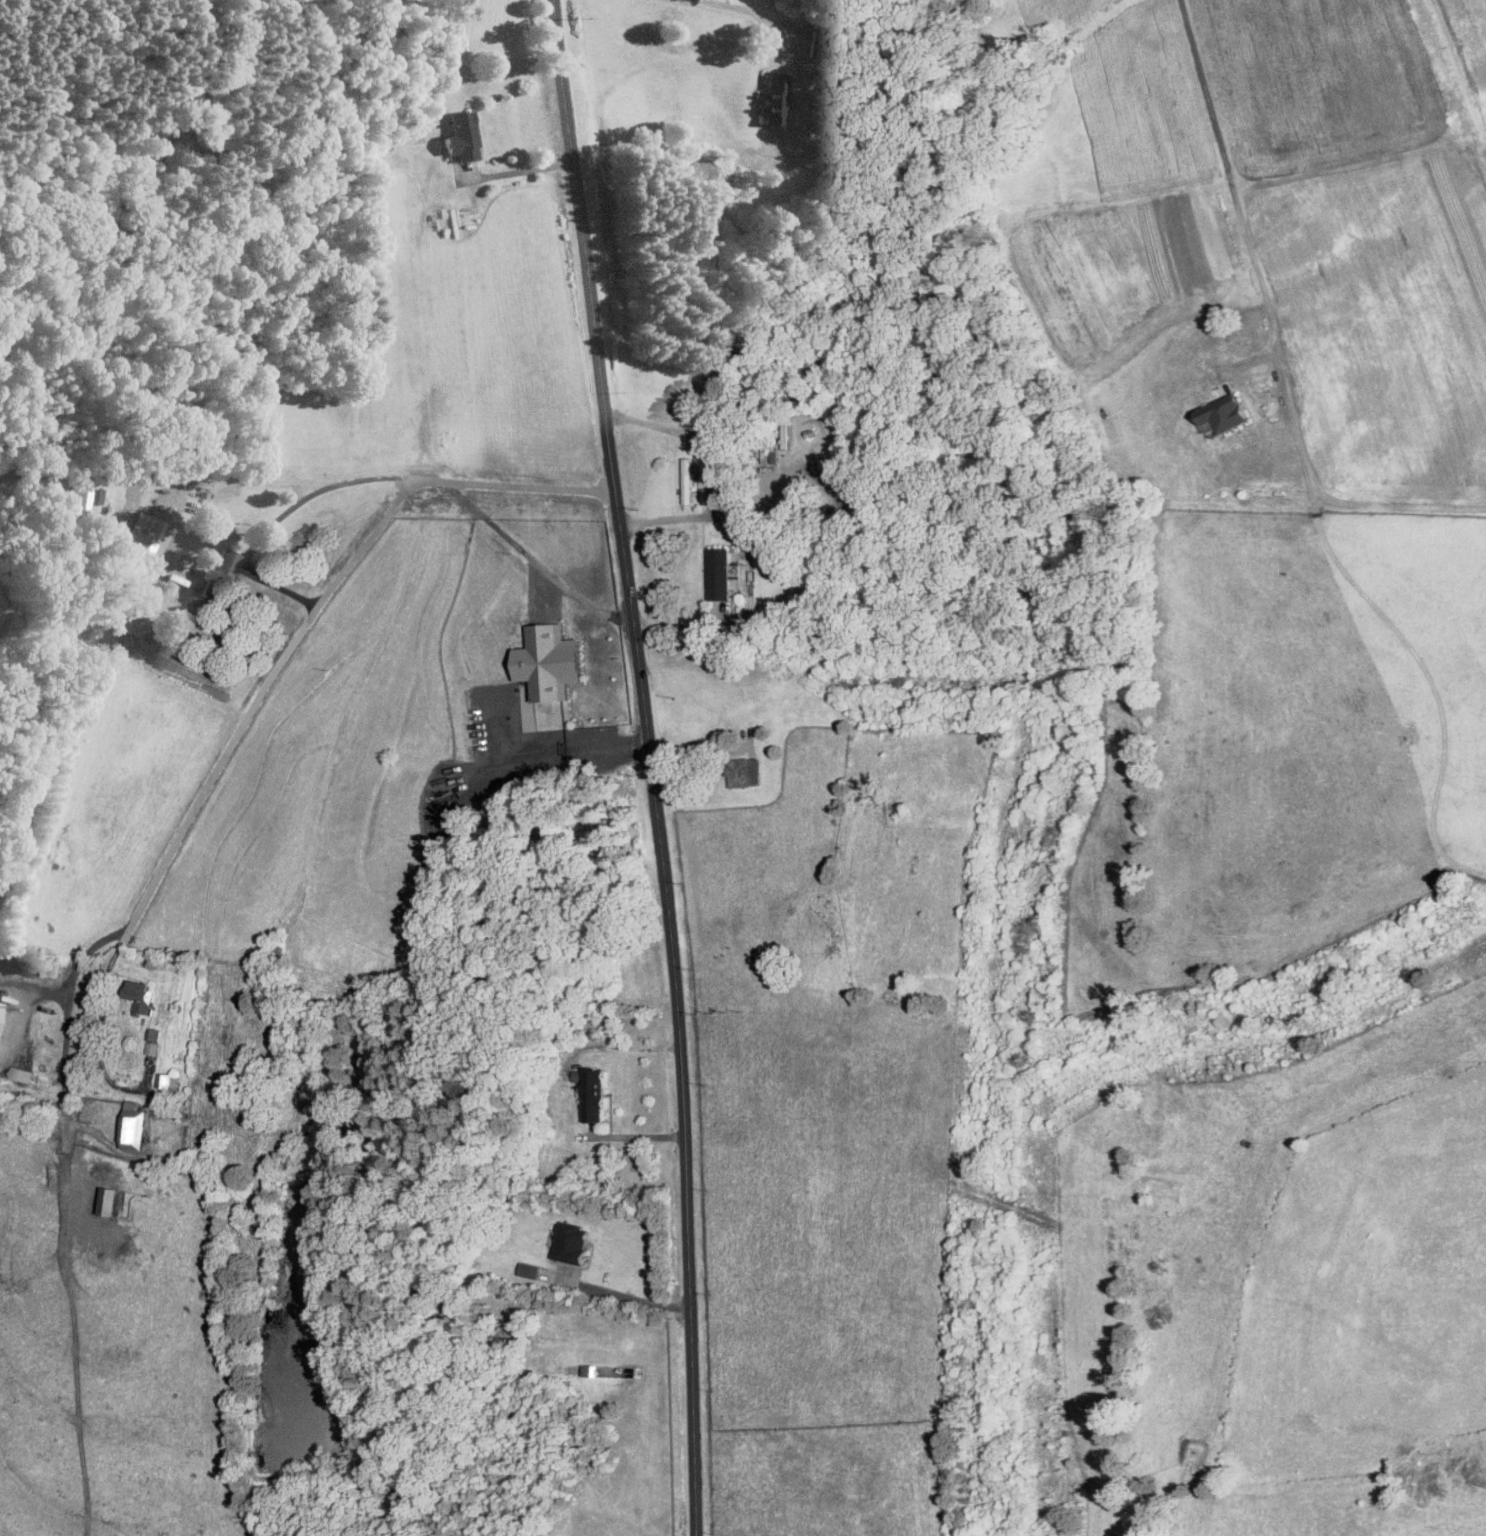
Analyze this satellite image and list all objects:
road: (757, 14)
building: (816, 41)
building: (772, 98)
building: (461, 135)
road: (524, 168)
road: (1230, 179)
building: (1226, 412)
road: (688, 437)
road: (208, 472)
building: (691, 483)
road: (526, 485)
building: (77, 493)
building: (141, 535)
road: (266, 537)
road: (749, 569)
building: (720, 573)
building: (217, 574)
road: (335, 585)
building: (550, 661)
road: (699, 746)
road: (576, 752)
road: (651, 765)
building: (745, 771)
building: (141, 995)
building: (0, 1004)
road: (28, 1011)
road: (65, 1020)
road: (100, 1036)
building: (153, 1041)
road: (615, 1047)
building: (23, 1074)
building: (594, 1095)
building: (133, 1125)
road: (634, 1134)
building: (108, 1201)
building: (572, 1243)
road: (634, 1296)

